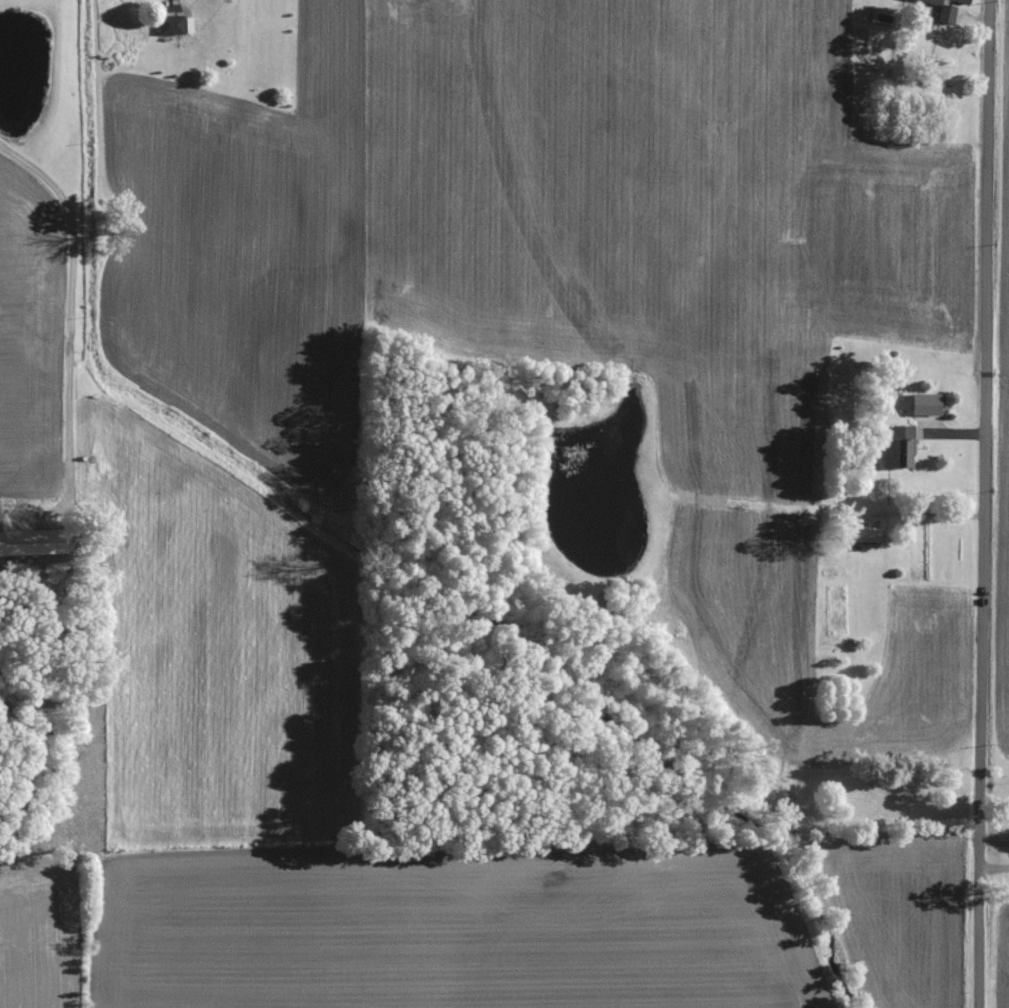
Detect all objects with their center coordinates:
building: (948, 8)
building: (174, 25)
building: (902, 448)
road: (988, 504)
building: (871, 535)
building: (35, 543)

